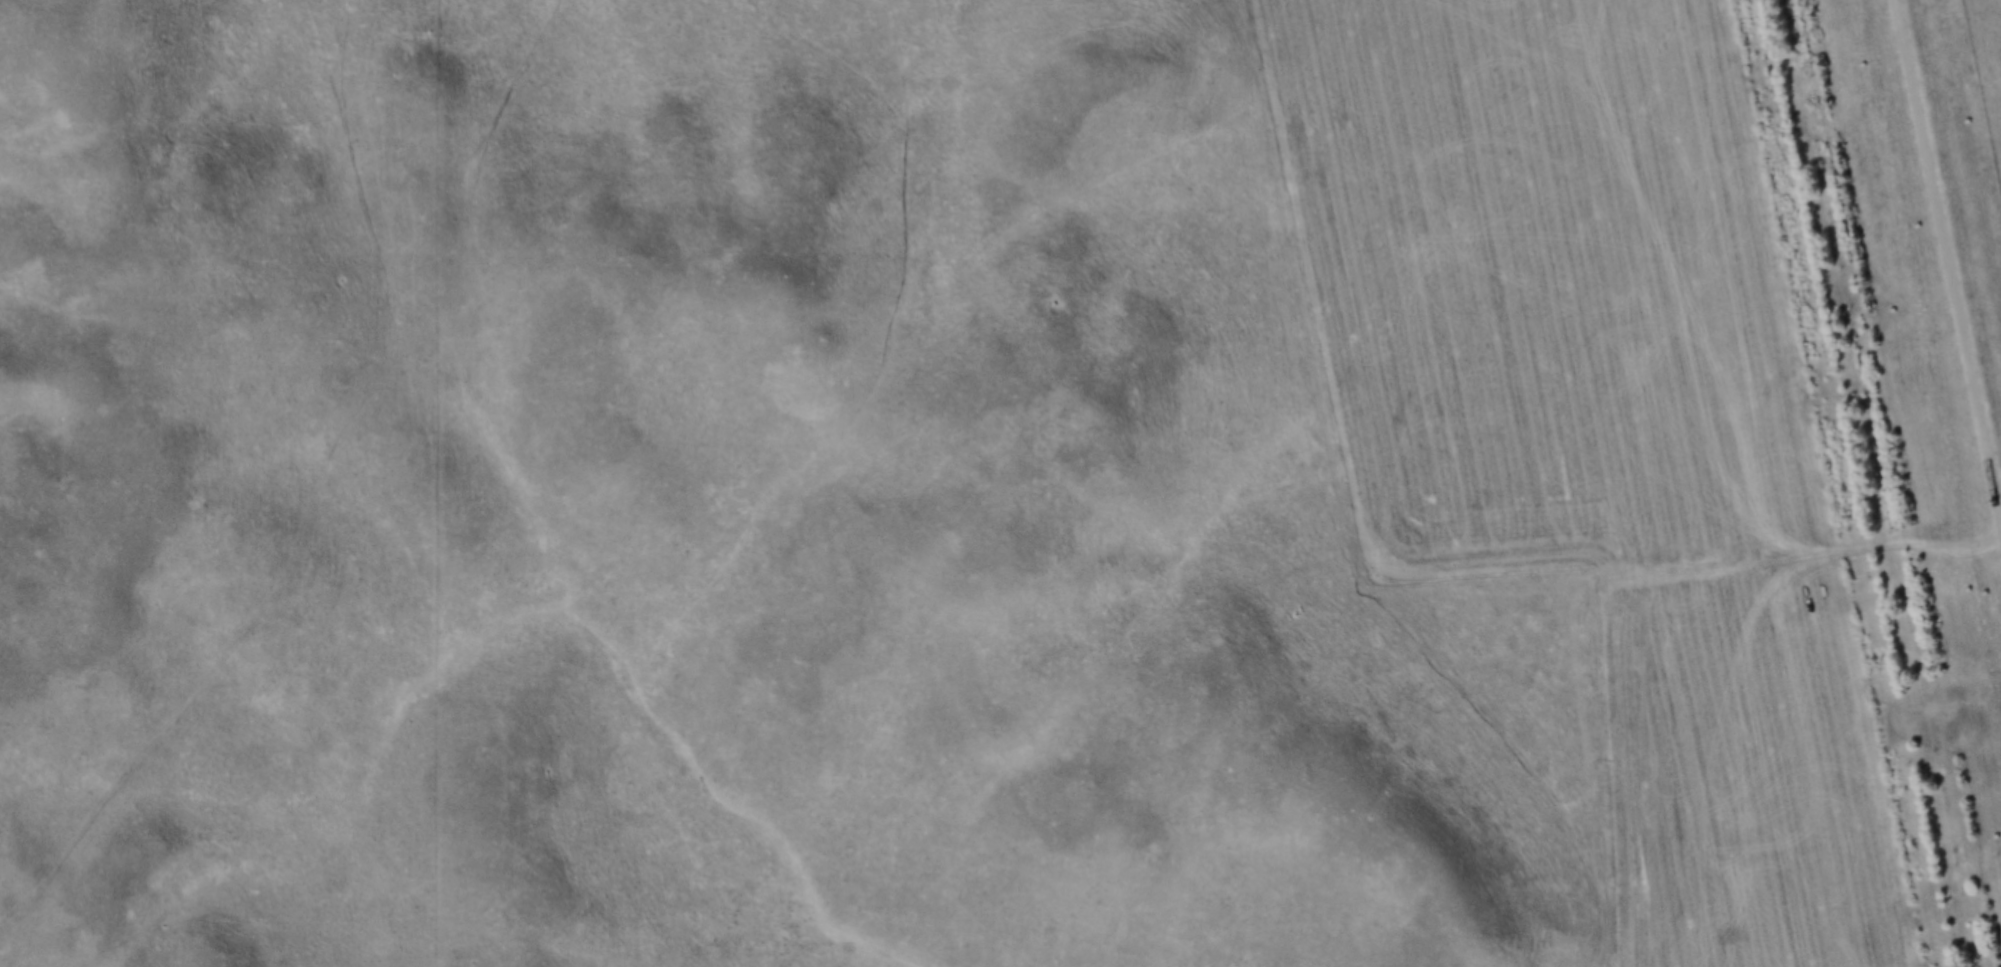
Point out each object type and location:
road: (1950, 252)
road: (444, 471)

